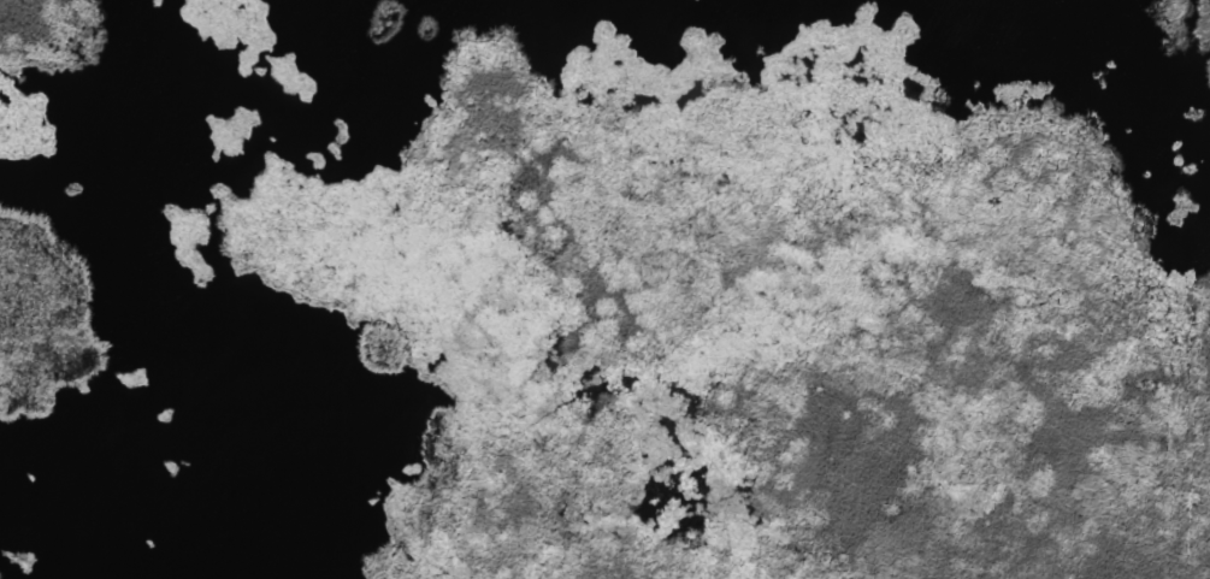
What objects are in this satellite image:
park: (604, 289)

